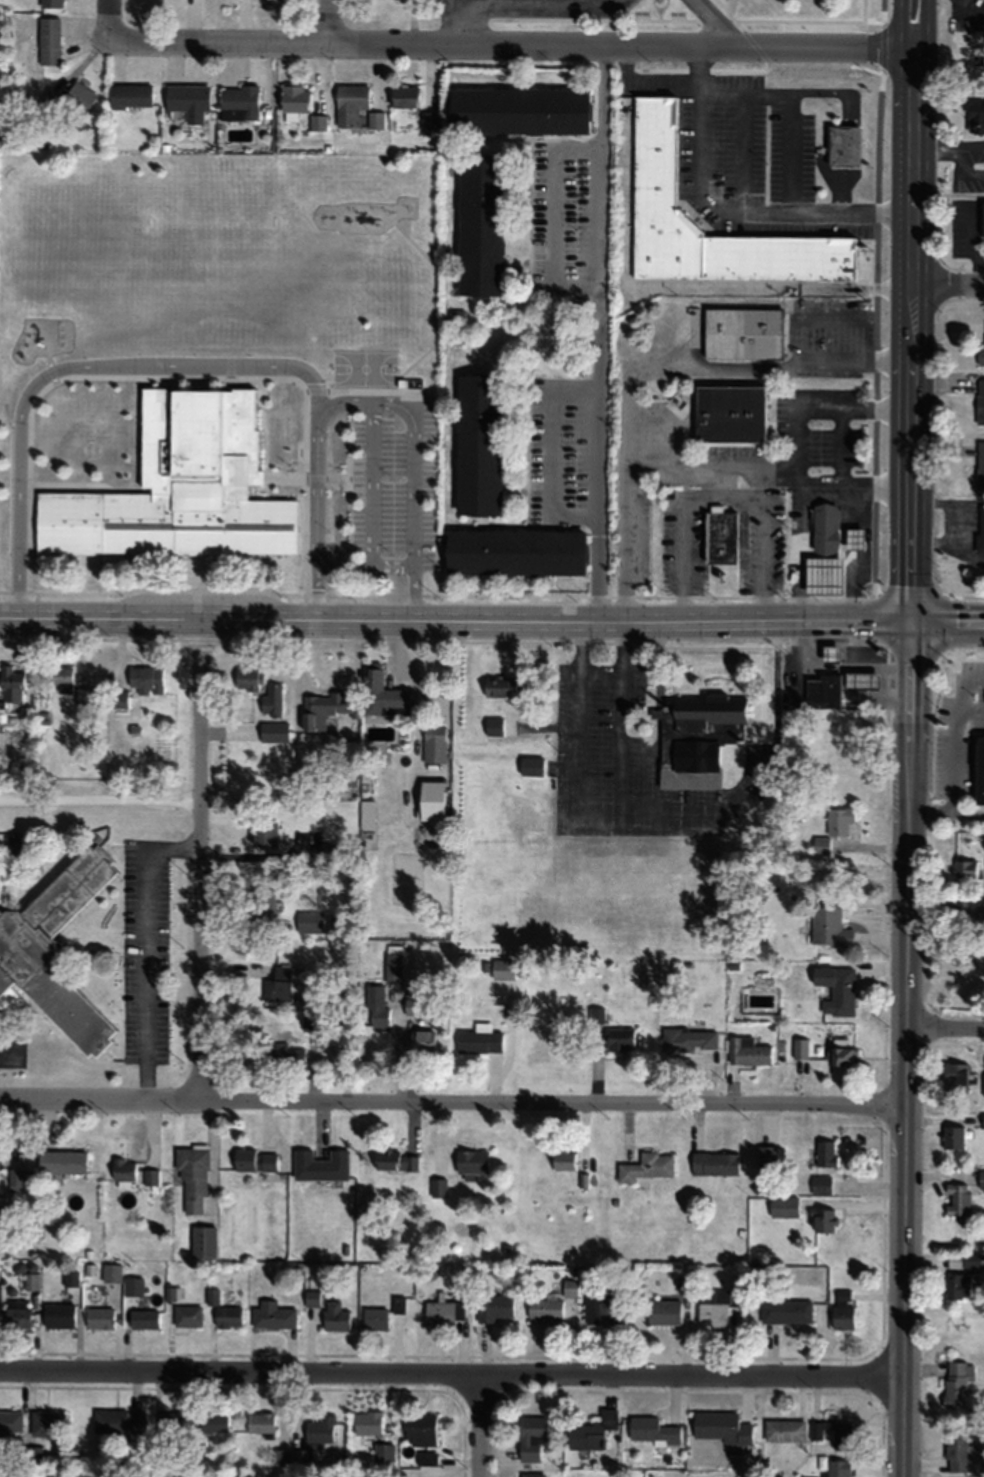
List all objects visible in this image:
road: (492, 1)
road: (554, 2)
building: (51, 3)
road: (518, 3)
parking lot: (534, 8)
road: (721, 10)
road: (862, 10)
road: (109, 18)
road: (710, 18)
road: (330, 20)
road: (661, 20)
road: (909, 23)
road: (920, 23)
building: (48, 41)
road: (512, 42)
road: (666, 83)
building: (129, 96)
building: (404, 96)
building: (51, 98)
building: (78, 98)
building: (294, 99)
building: (188, 101)
building: (238, 102)
building: (350, 103)
building: (518, 111)
building: (377, 119)
building: (976, 119)
building: (429, 120)
building: (317, 122)
building: (843, 146)
building: (654, 152)
road: (753, 215)
road: (557, 218)
building: (982, 219)
building: (480, 225)
road: (950, 281)
road: (876, 313)
road: (601, 333)
building: (742, 333)
road: (915, 337)
building: (980, 355)
road: (74, 367)
building: (980, 401)
building: (730, 412)
road: (412, 438)
building: (478, 443)
road: (556, 450)
building: (979, 464)
road: (370, 484)
building: (181, 488)
road: (313, 493)
building: (824, 527)
building: (981, 527)
building: (719, 536)
building: (854, 537)
building: (514, 551)
road: (363, 567)
building: (823, 574)
road: (413, 593)
road: (315, 594)
road: (158, 617)
road: (366, 620)
road: (662, 623)
road: (947, 627)
building: (831, 653)
building: (61, 678)
building: (245, 678)
building: (145, 679)
building: (862, 679)
building: (11, 683)
building: (502, 685)
building: (822, 691)
building: (382, 693)
building: (84, 697)
building: (119, 699)
building: (272, 700)
building: (325, 708)
road: (970, 709)
building: (493, 726)
building: (273, 731)
building: (695, 738)
building: (433, 744)
road: (953, 759)
building: (531, 765)
building: (979, 770)
road: (99, 798)
road: (967, 815)
building: (833, 827)
building: (264, 830)
building: (328, 851)
road: (200, 859)
building: (963, 868)
building: (262, 901)
road: (946, 910)
building: (309, 921)
building: (828, 926)
building: (26, 950)
building: (393, 961)
building: (502, 968)
building: (278, 985)
building: (837, 989)
building: (0, 1003)
building: (377, 1004)
building: (412, 1005)
road: (945, 1024)
building: (619, 1038)
building: (688, 1039)
building: (421, 1040)
building: (478, 1040)
building: (747, 1051)
building: (841, 1052)
road: (906, 1052)
building: (285, 1054)
building: (954, 1077)
building: (982, 1084)
road: (452, 1100)
building: (982, 1121)
building: (953, 1137)
building: (825, 1152)
building: (767, 1157)
building: (254, 1160)
building: (395, 1160)
building: (562, 1160)
building: (61, 1161)
building: (471, 1162)
building: (714, 1163)
building: (319, 1165)
building: (645, 1167)
building: (123, 1171)
building: (150, 1177)
building: (191, 1178)
building: (981, 1179)
building: (15, 1180)
building: (820, 1185)
building: (437, 1187)
building: (956, 1198)
building: (783, 1207)
building: (822, 1220)
building: (202, 1241)
building: (972, 1260)
building: (30, 1280)
building: (131, 1285)
building: (957, 1285)
building: (311, 1297)
building: (550, 1303)
building: (494, 1307)
building: (842, 1308)
building: (605, 1310)
building: (714, 1310)
building: (443, 1311)
building: (663, 1311)
building: (785, 1311)
building: (15, 1312)
building: (57, 1314)
building: (186, 1315)
building: (272, 1315)
building: (227, 1316)
building: (334, 1316)
building: (98, 1317)
building: (143, 1318)
building: (374, 1318)
road: (450, 1371)
building: (955, 1382)
building: (10, 1420)
building: (118, 1420)
building: (45, 1422)
building: (212, 1422)
building: (367, 1422)
building: (259, 1423)
building: (171, 1424)
road: (479, 1424)
building: (721, 1427)
building: (320, 1428)
building: (419, 1428)
building: (784, 1430)
building: (591, 1431)
building: (652, 1431)
building: (842, 1435)
building: (531, 1436)
building: (955, 1450)
building: (383, 1452)
building: (33, 1454)
building: (288, 1457)
building: (838, 1468)
building: (54, 1472)
building: (531, 1474)

